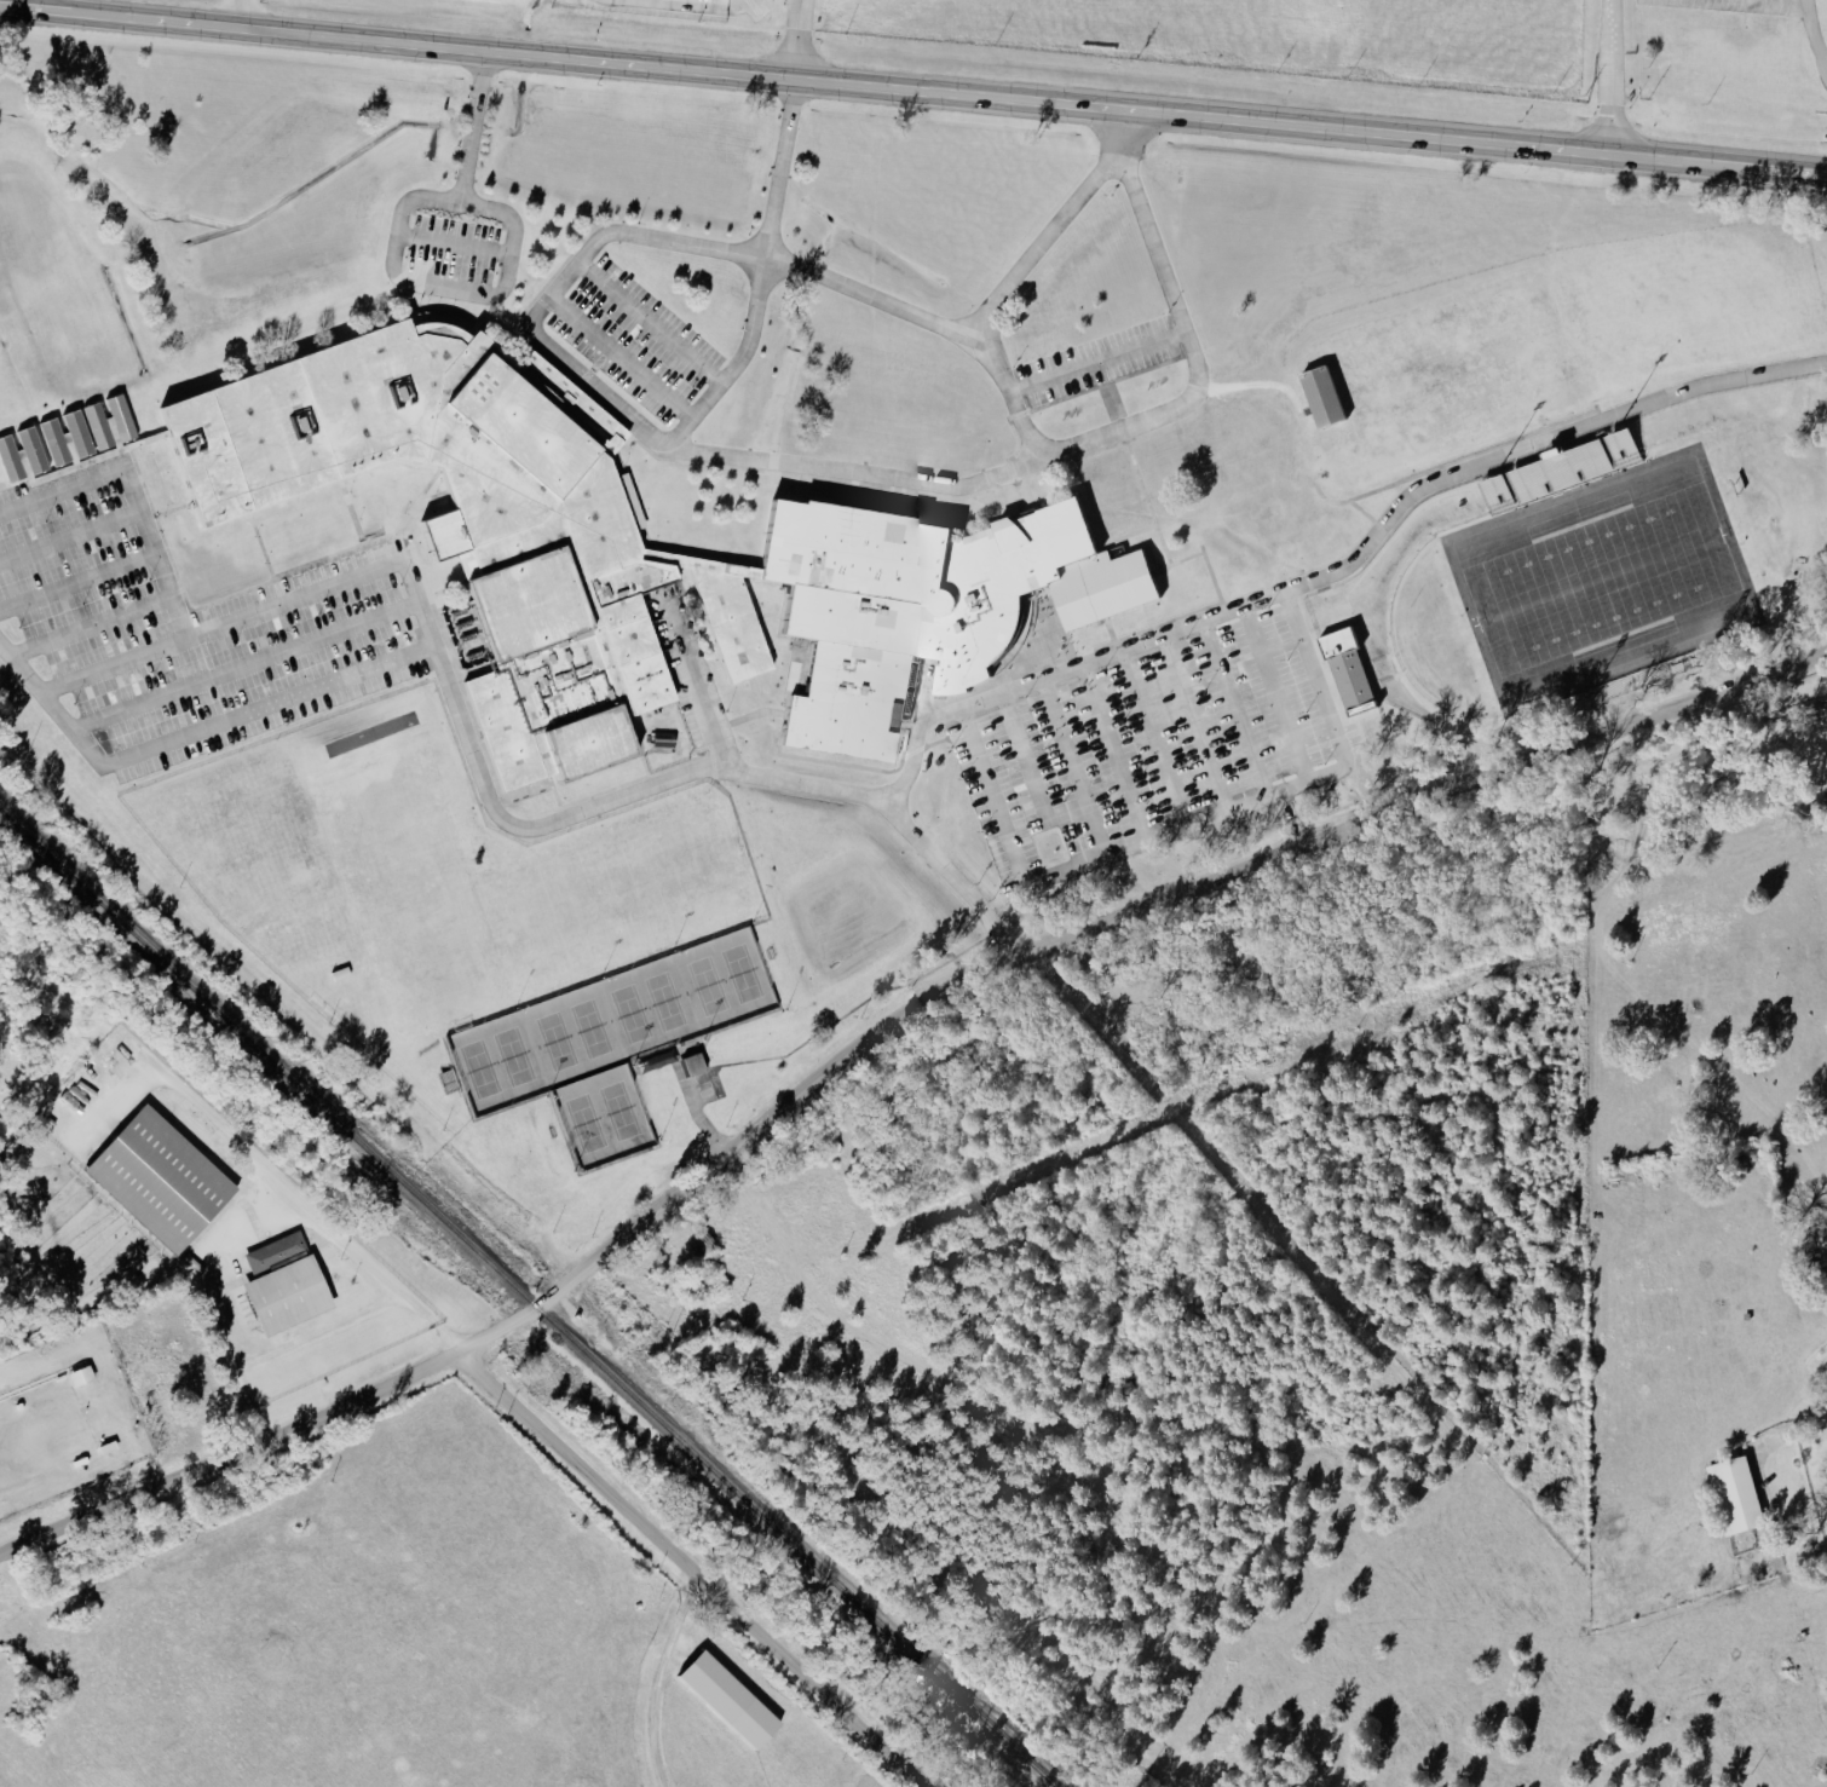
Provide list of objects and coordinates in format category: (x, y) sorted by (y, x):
road: (1775, 2)
road: (1812, 2)
road: (62, 10)
road: (240, 13)
road: (1816, 34)
road: (799, 40)
road: (1610, 77)
road: (923, 92)
road: (780, 169)
road: (1775, 171)
road: (455, 243)
road: (1036, 243)
road: (397, 256)
parking lot: (453, 256)
road: (644, 332)
parking lot: (630, 353)
road: (621, 359)
parking lot: (1095, 361)
road: (1095, 362)
road: (571, 368)
building: (1315, 396)
building: (117, 416)
building: (94, 425)
building: (74, 432)
road: (1094, 438)
building: (51, 440)
road: (145, 442)
building: (28, 449)
road: (1474, 454)
building: (7, 459)
building: (1555, 469)
road: (854, 473)
road: (1135, 473)
road: (420, 501)
road: (165, 507)
road: (1359, 511)
road: (352, 520)
building: (479, 523)
road: (1123, 535)
road: (69, 537)
road: (263, 552)
road: (1175, 561)
road: (1402, 572)
road: (1347, 576)
stadium: (1587, 576)
park: (1601, 578)
road: (1211, 581)
road: (77, 583)
building: (918, 605)
road: (198, 619)
parking lot: (192, 628)
road: (91, 629)
road: (123, 664)
road: (248, 670)
building: (1344, 670)
building: (1637, 676)
road: (688, 692)
road: (1224, 711)
road: (1178, 728)
building: (662, 738)
parking lot: (1112, 755)
road: (1053, 773)
road: (482, 774)
road: (987, 794)
park: (405, 892)
park: (612, 895)
road: (874, 1031)
road: (730, 1066)
parking lot: (693, 1085)
road: (693, 1114)
road: (271, 1172)
building: (167, 1180)
building: (290, 1284)
railway: (526, 1298)
road: (211, 1305)
road: (1817, 1418)
road: (122, 1422)
building: (1825, 1485)
building: (1733, 1495)
road: (696, 1569)
road: (656, 1677)
building: (736, 1701)

